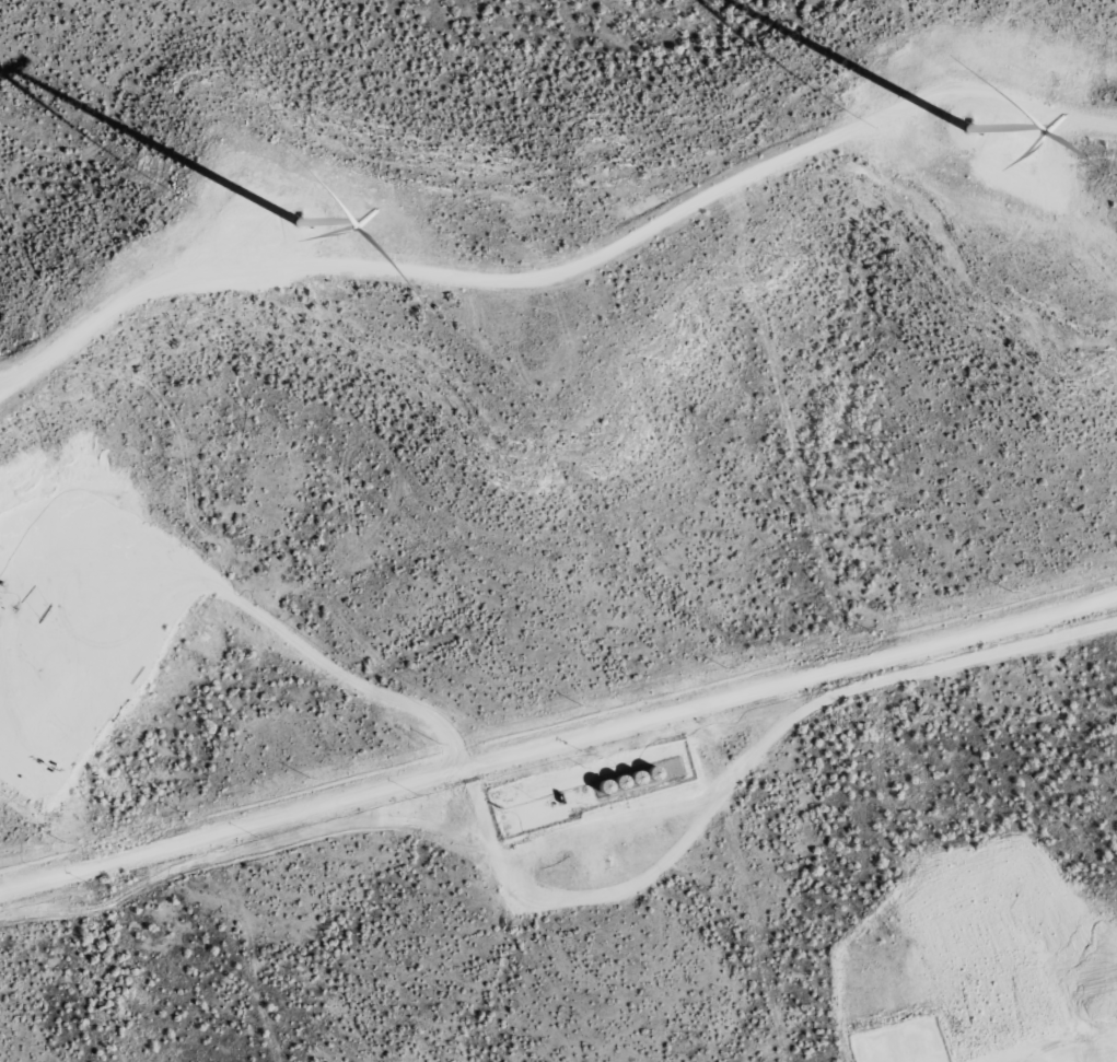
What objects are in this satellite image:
wind turbine: (967, 128)
wind turbine: (300, 217)
road: (560, 720)

